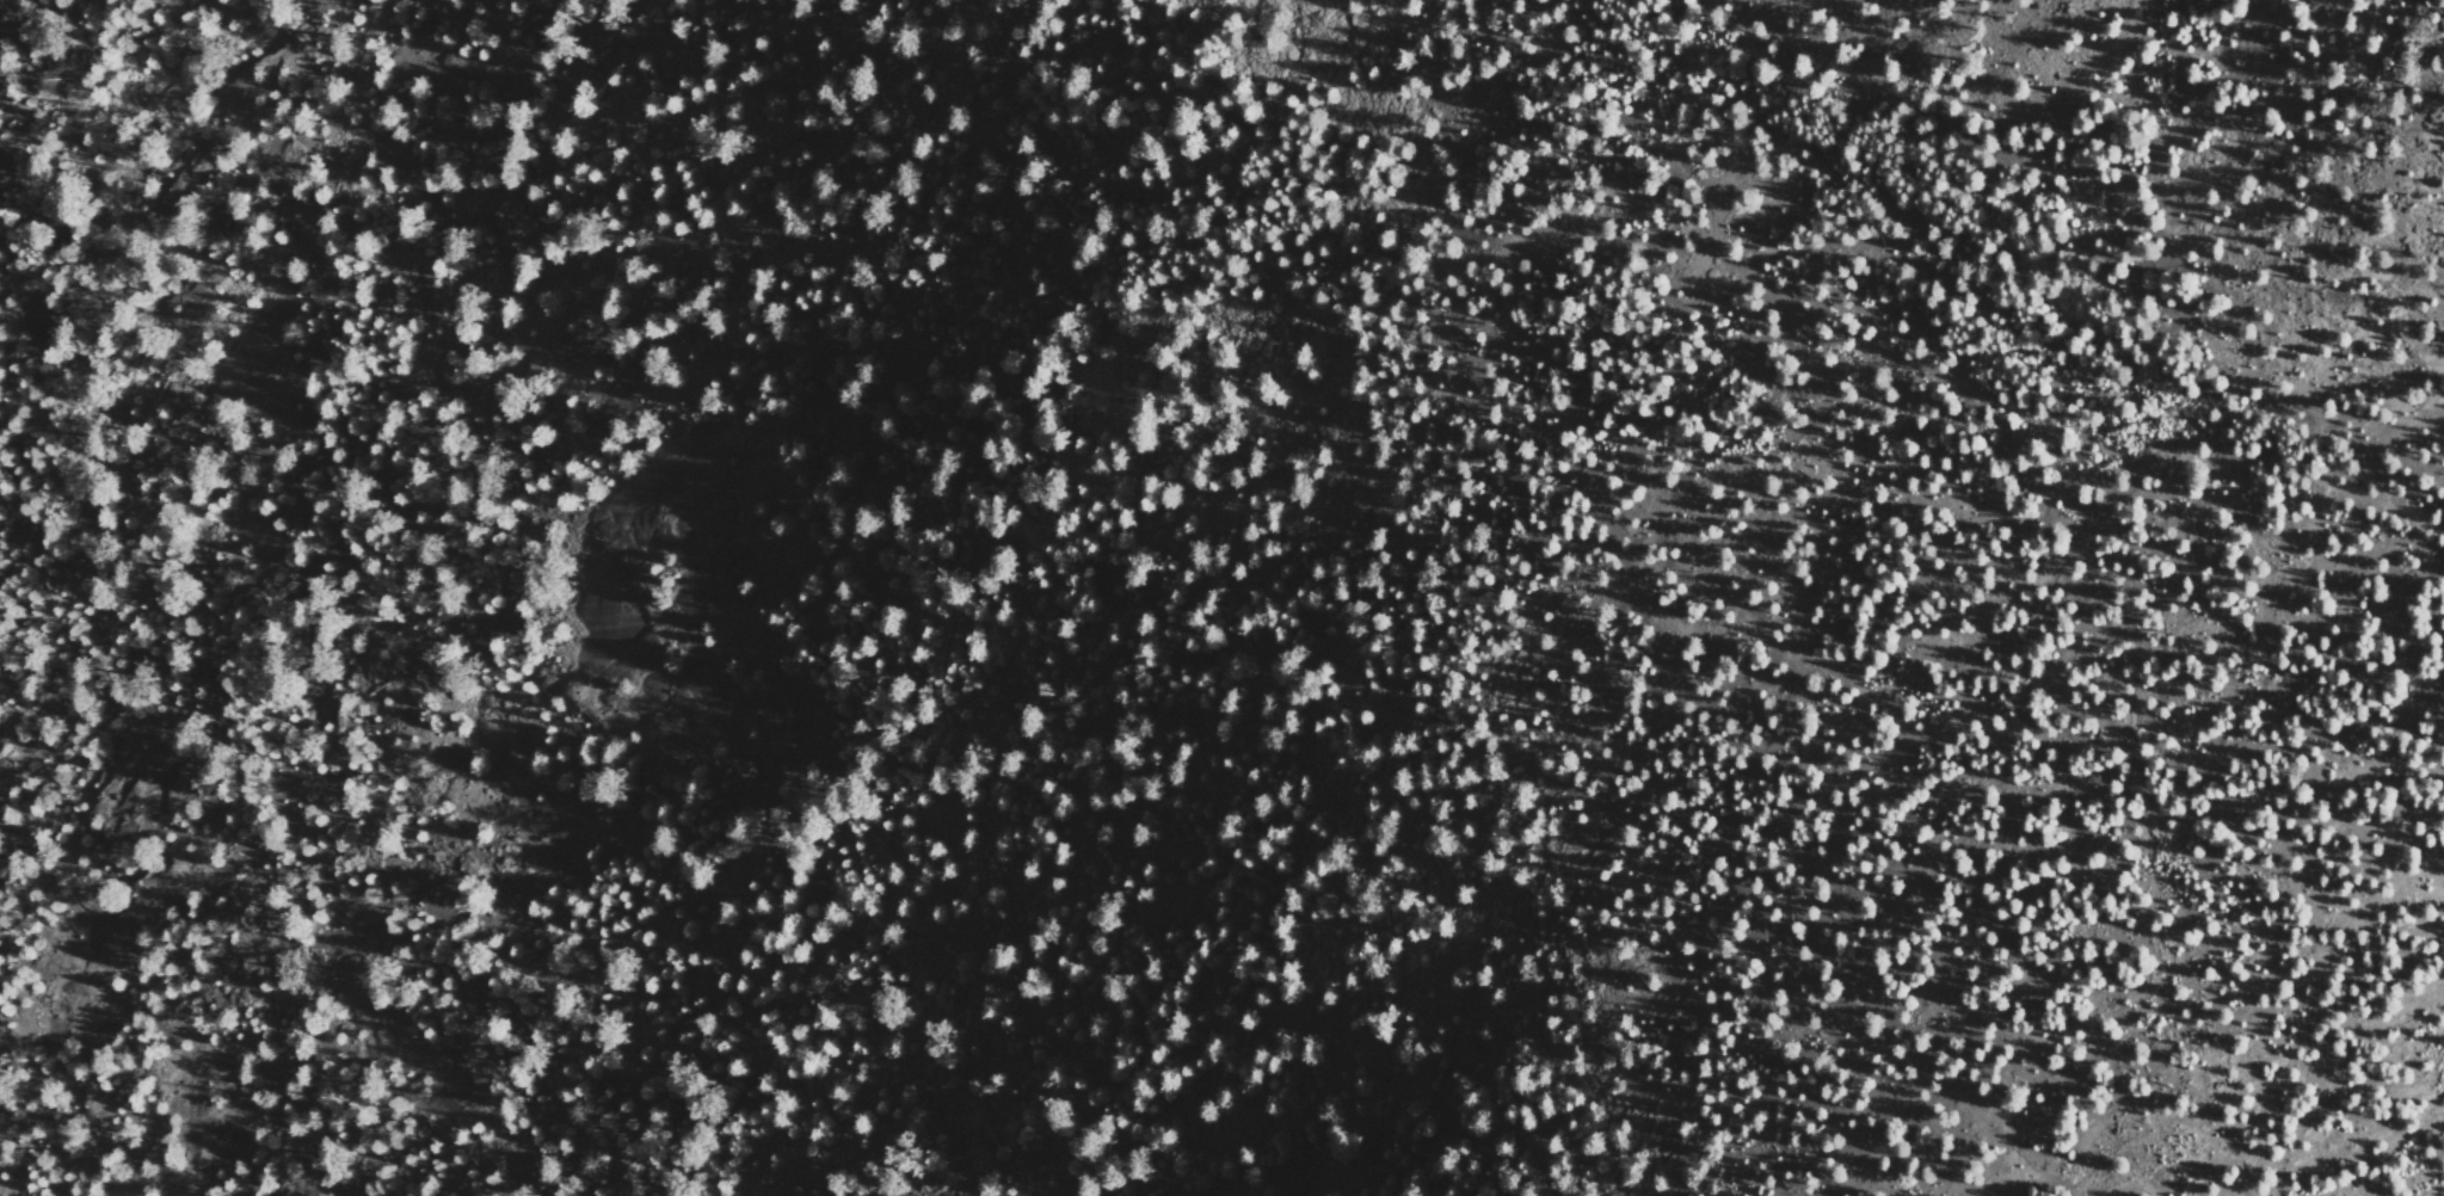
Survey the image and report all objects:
road: (2304, 486)
road: (2292, 910)

